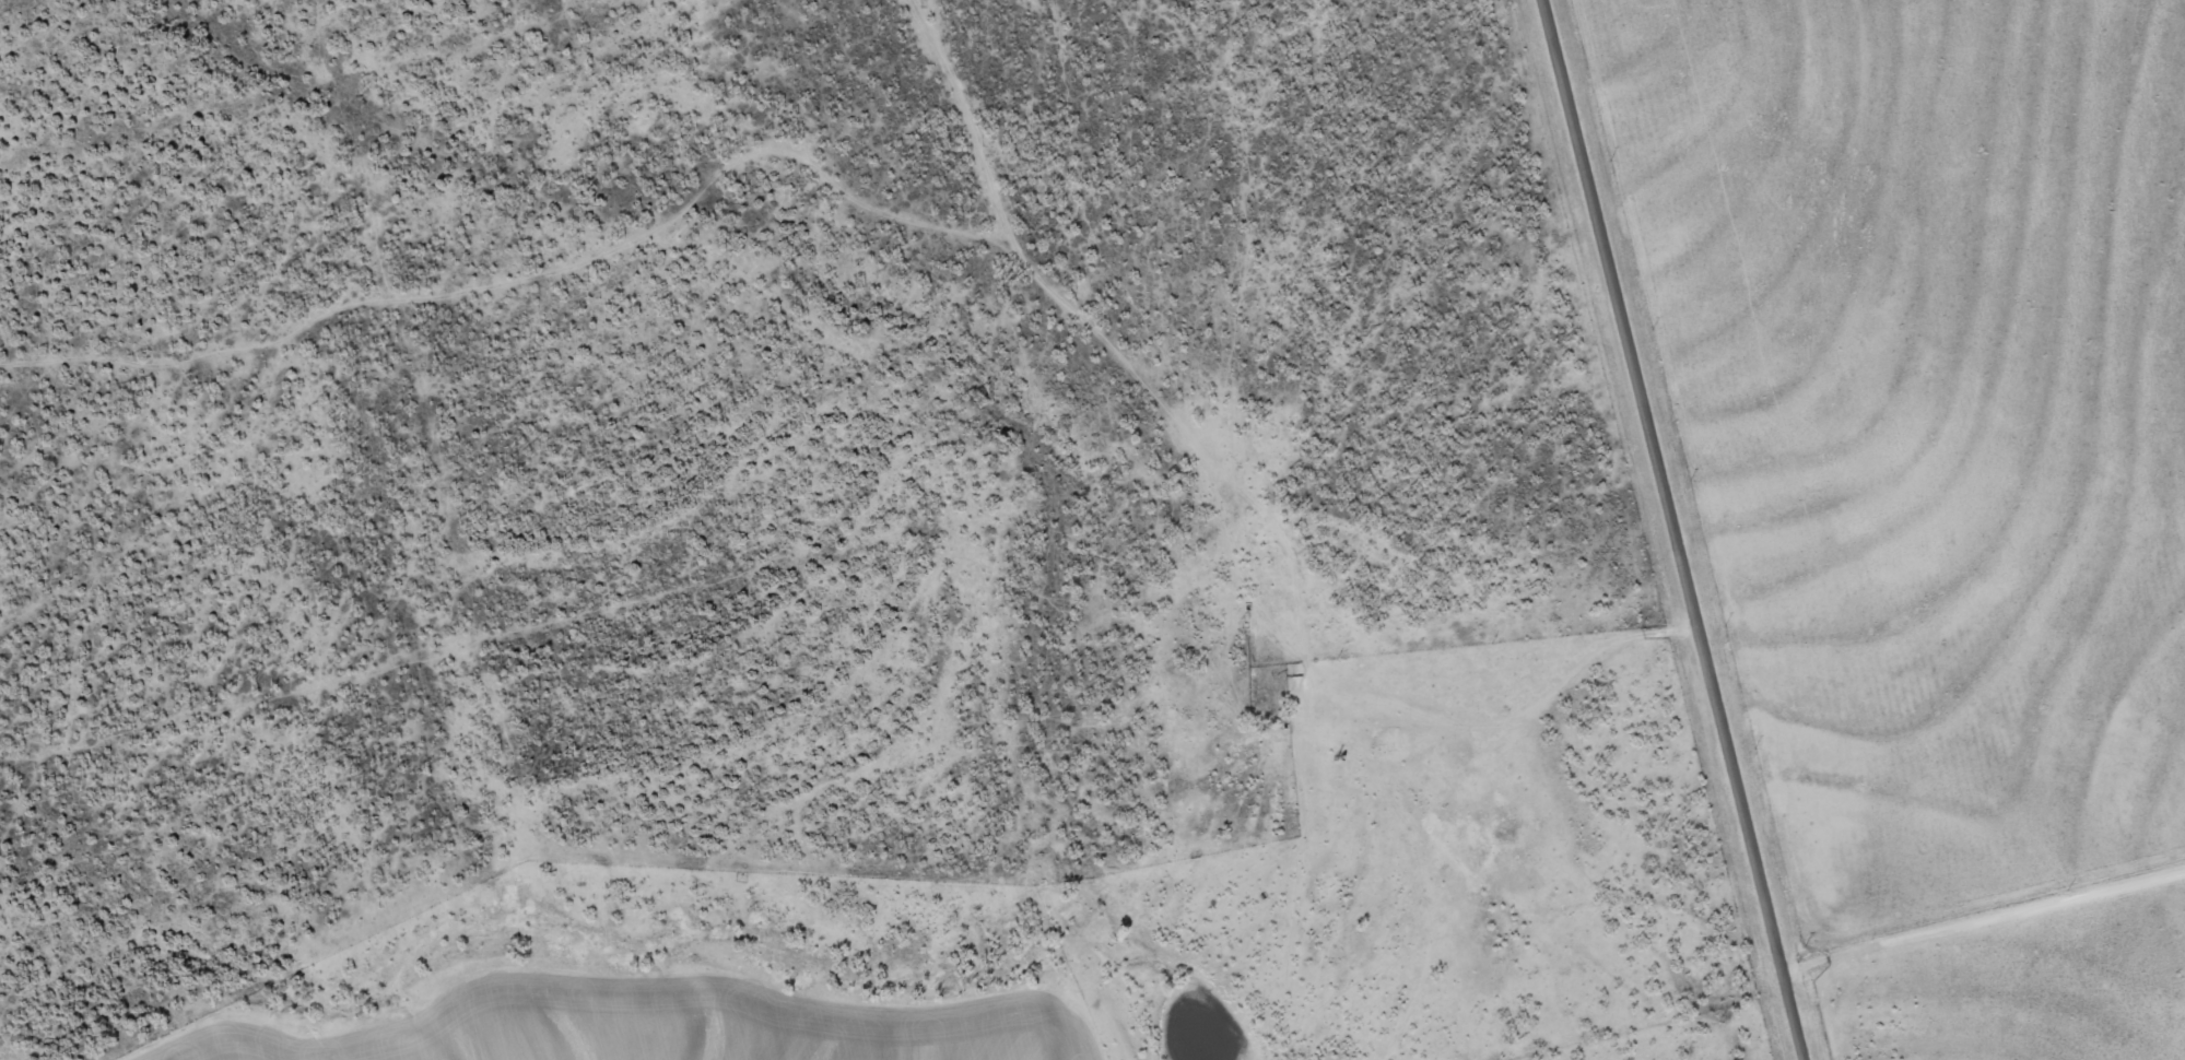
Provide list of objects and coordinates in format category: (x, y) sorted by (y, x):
road: (1680, 529)
road: (1553, 679)
road: (1985, 917)

